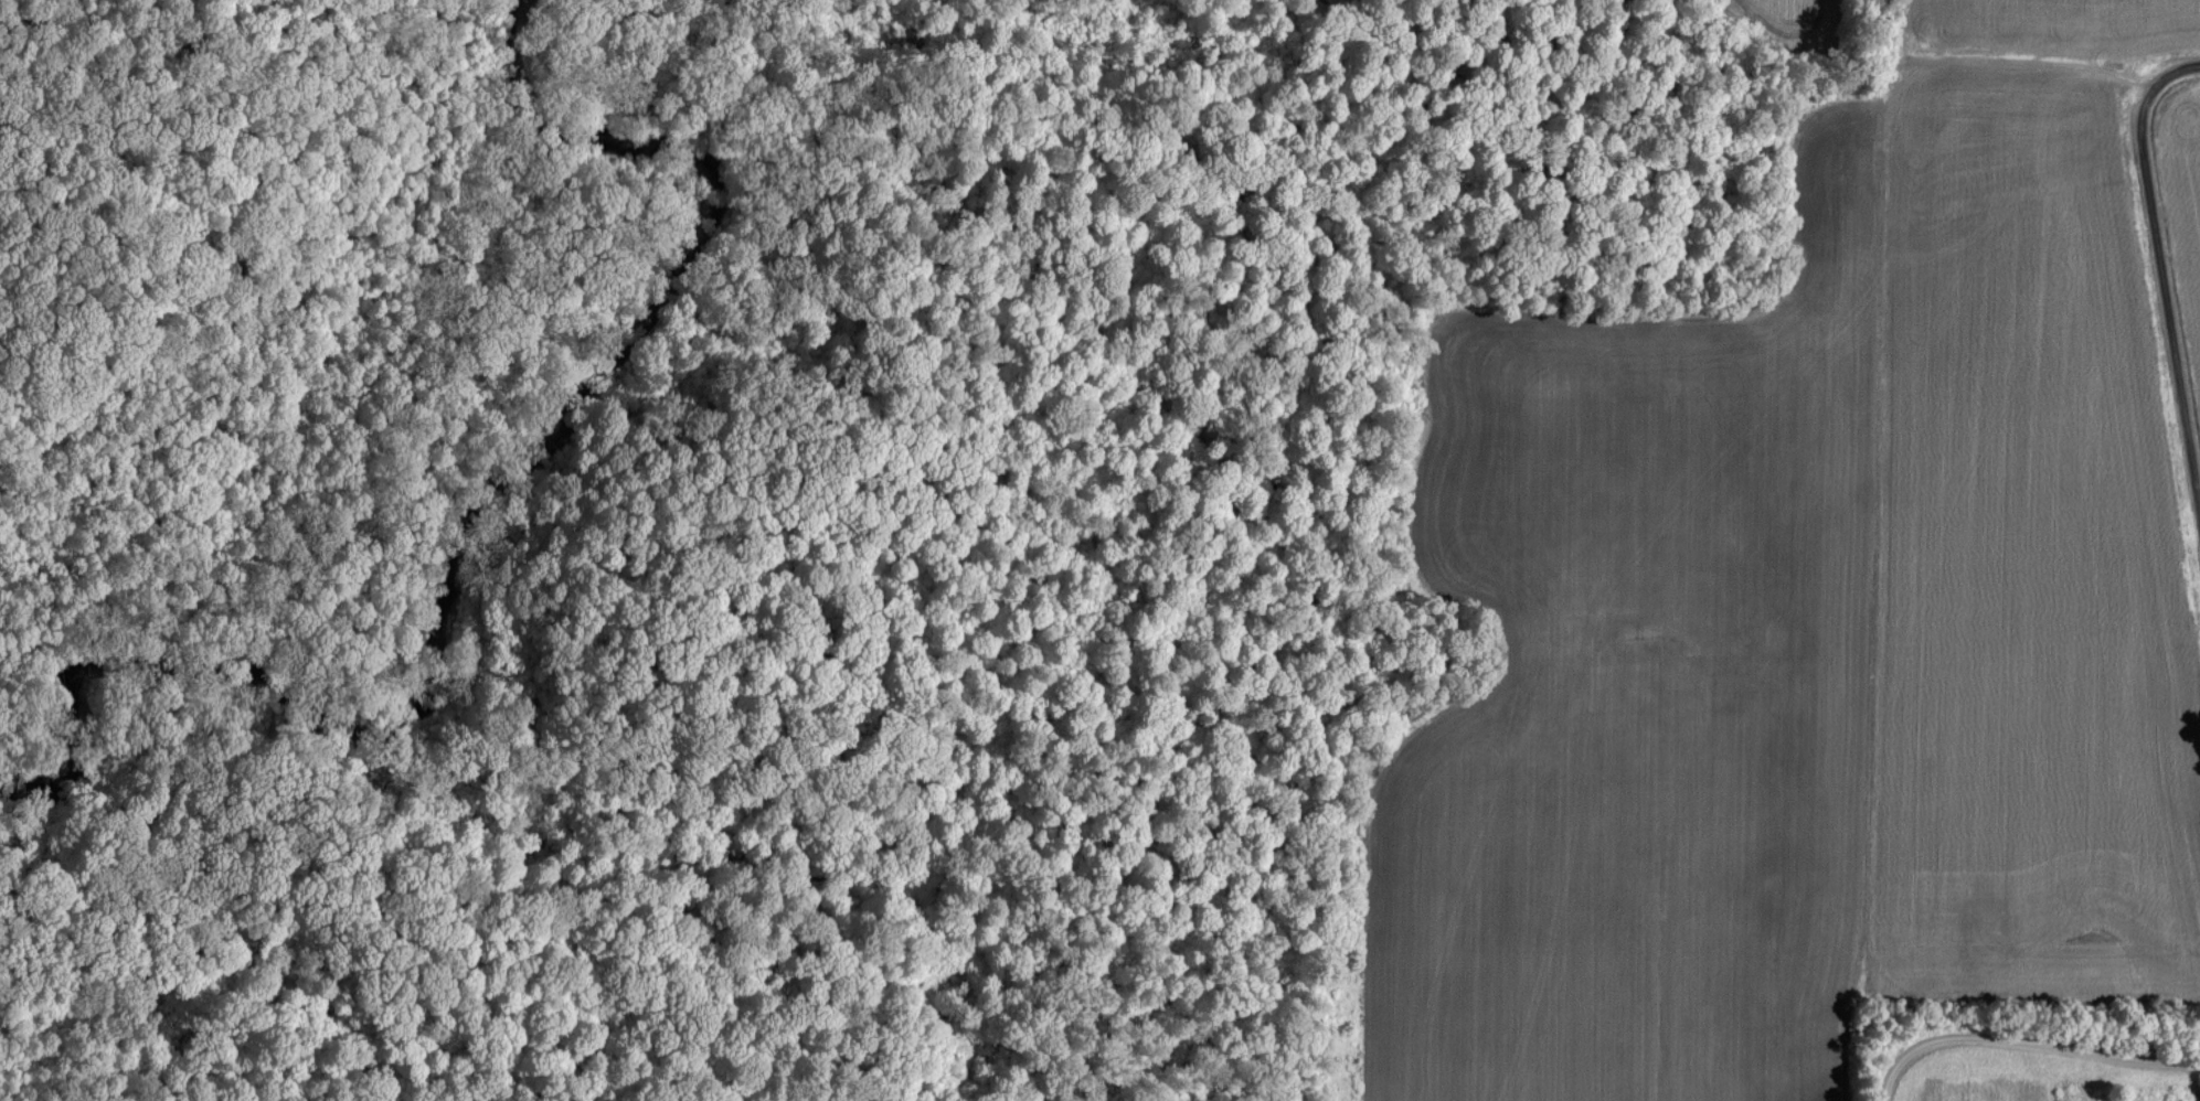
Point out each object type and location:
road: (2164, 261)
road: (2027, 1040)

